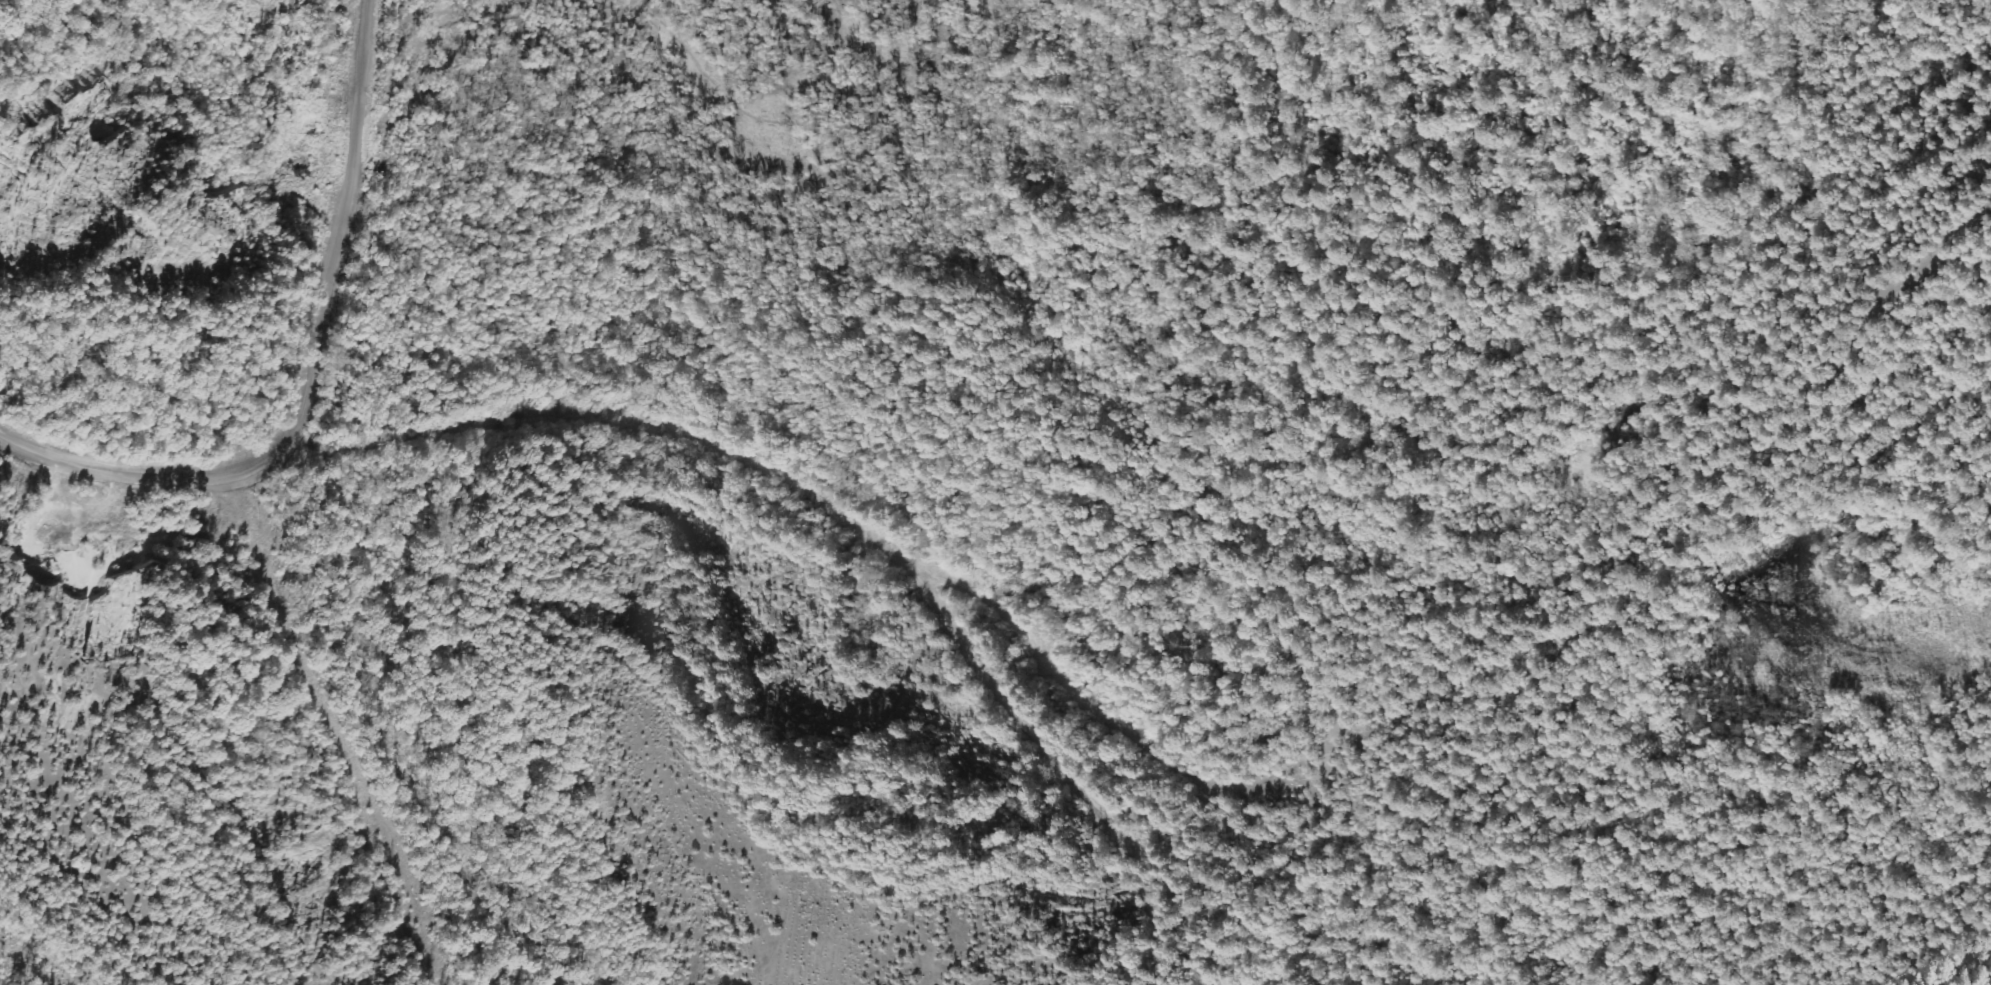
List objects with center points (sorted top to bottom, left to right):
road: (320, 375)

